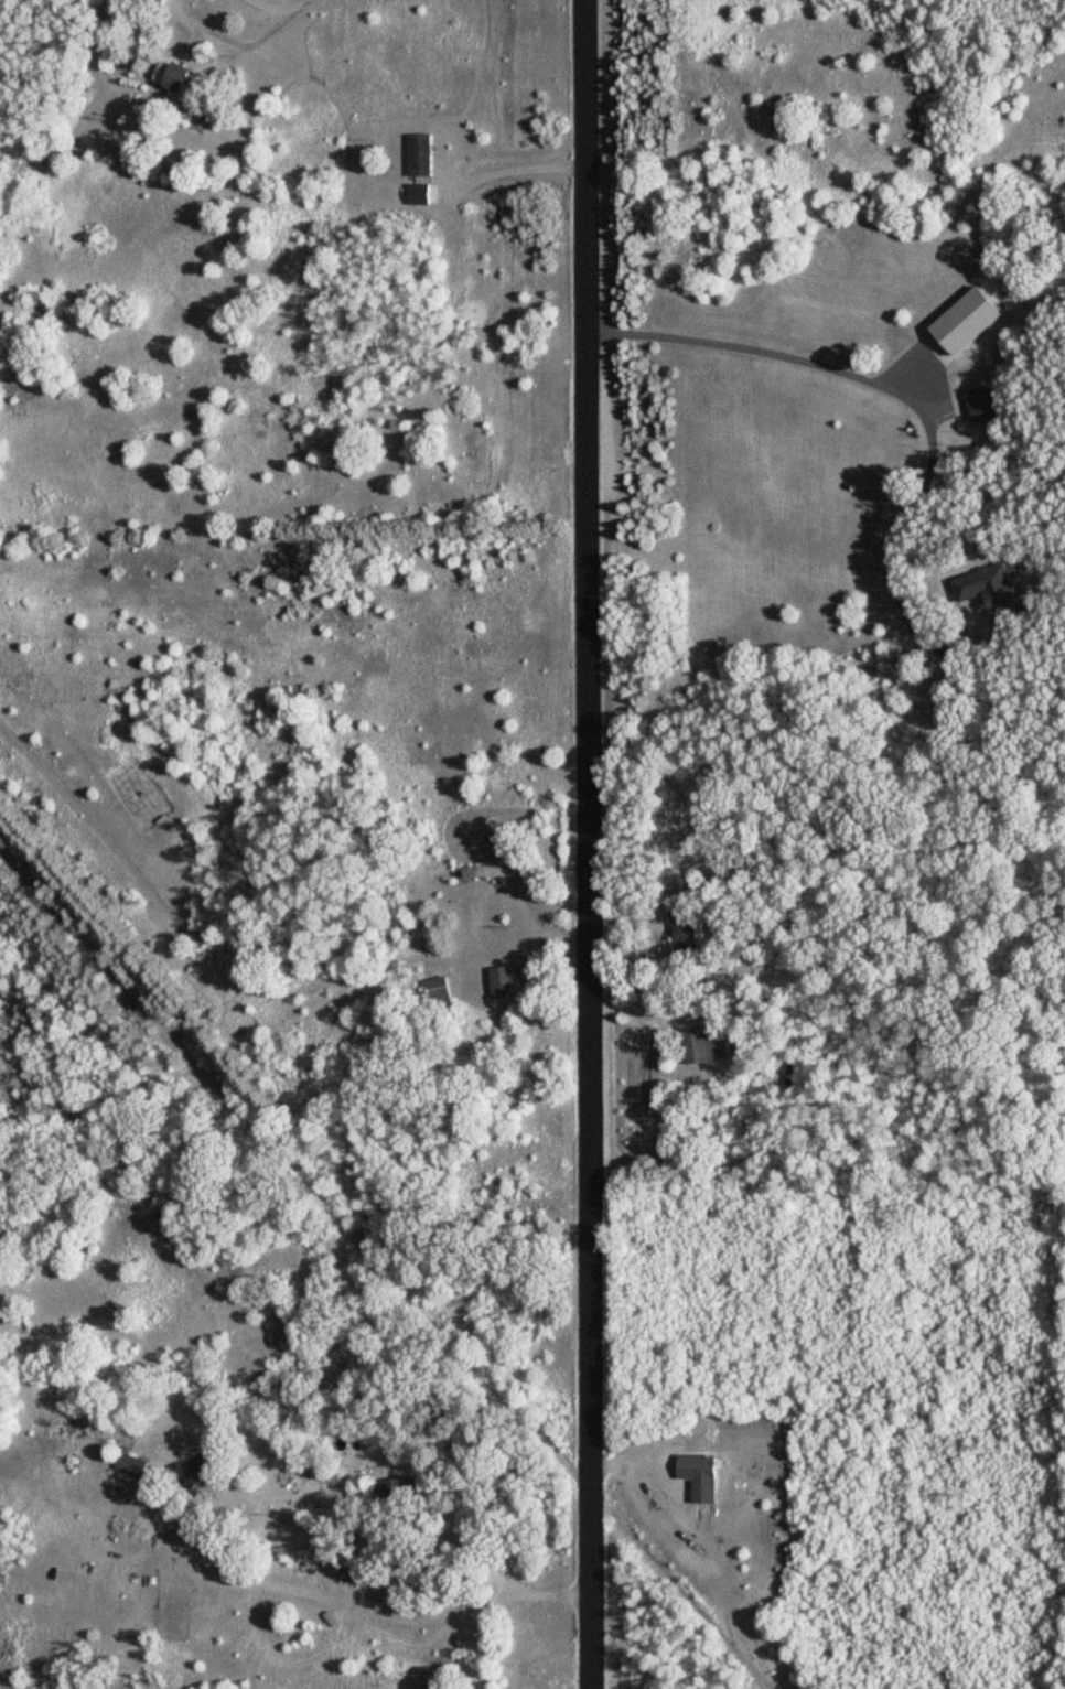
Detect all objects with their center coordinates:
building: (154, 1)
road: (292, 3)
road: (267, 4)
road: (226, 41)
building: (179, 76)
building: (420, 155)
road: (509, 170)
building: (419, 193)
road: (895, 390)
building: (981, 405)
building: (992, 588)
road: (584, 845)
building: (485, 872)
building: (685, 930)
building: (502, 982)
building: (438, 992)
building: (699, 1046)
building: (131, 1464)
building: (701, 1475)
building: (397, 1489)
road: (677, 1589)
road: (369, 1613)

